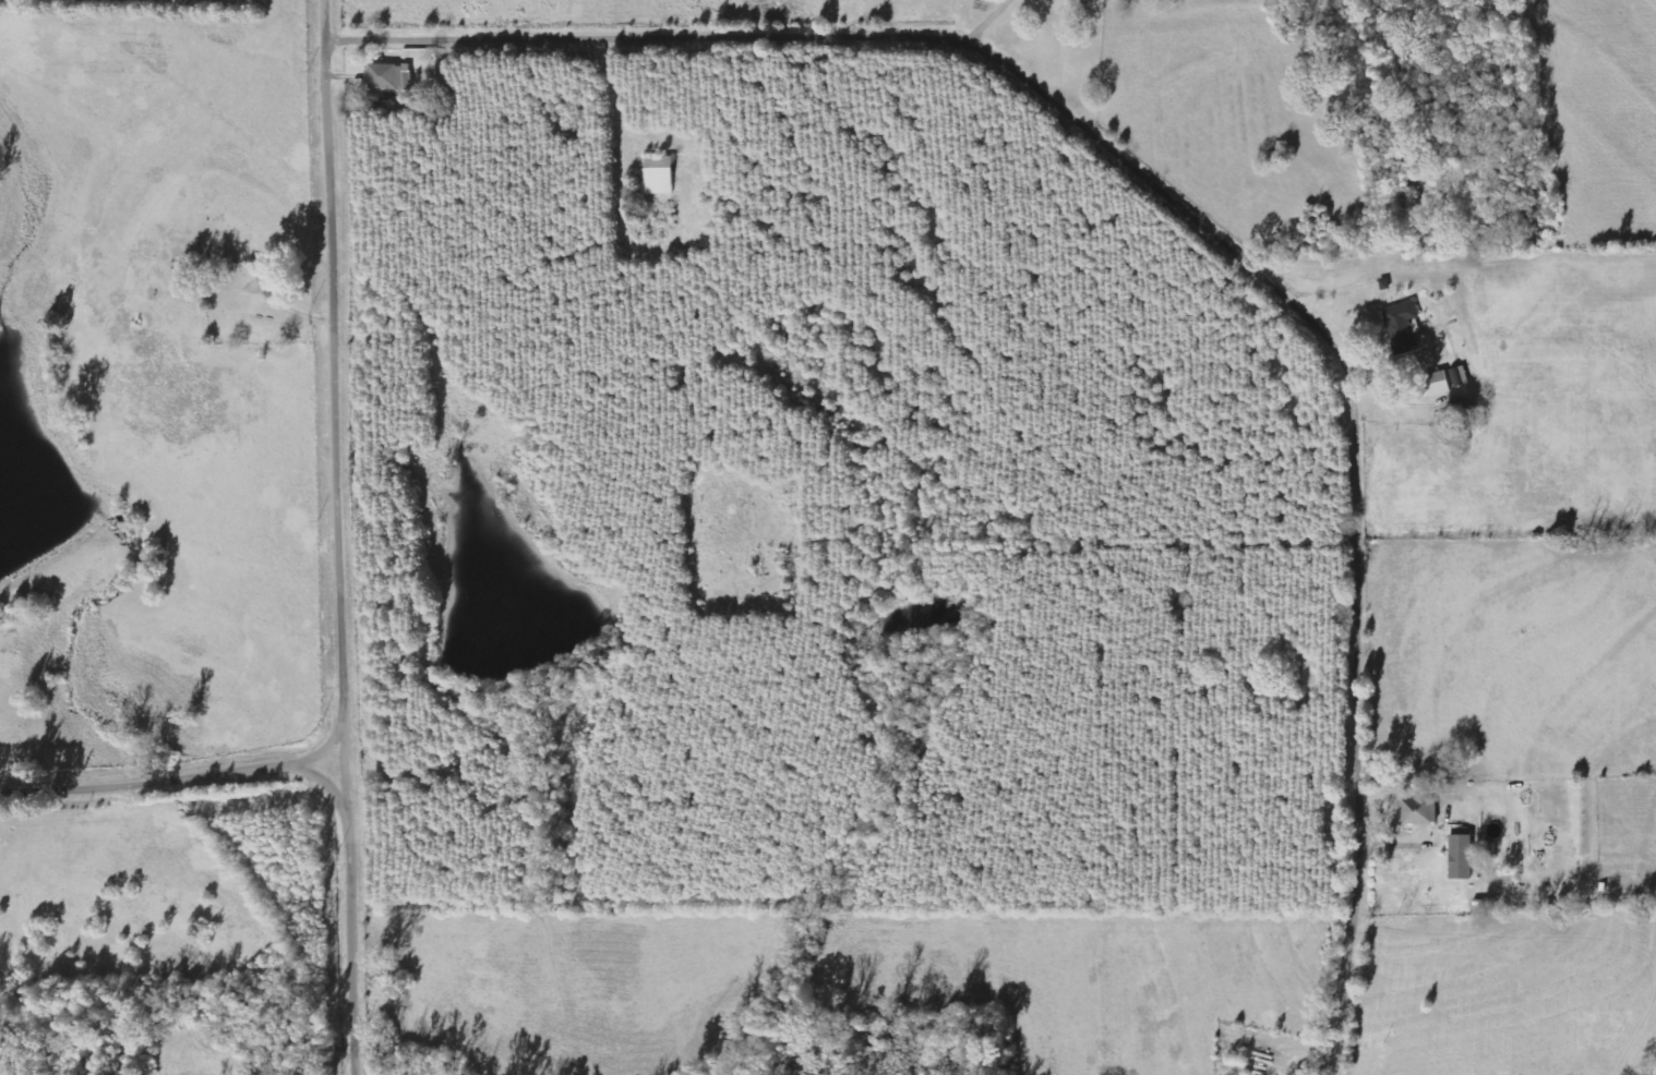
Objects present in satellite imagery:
building: (385, 76)
building: (406, 77)
building: (659, 176)
road: (1201, 215)
building: (1403, 326)
building: (1460, 377)
building: (1435, 386)
road: (1513, 504)
road: (346, 537)
road: (176, 775)
building: (1420, 812)
building: (1463, 857)
building: (1502, 879)

